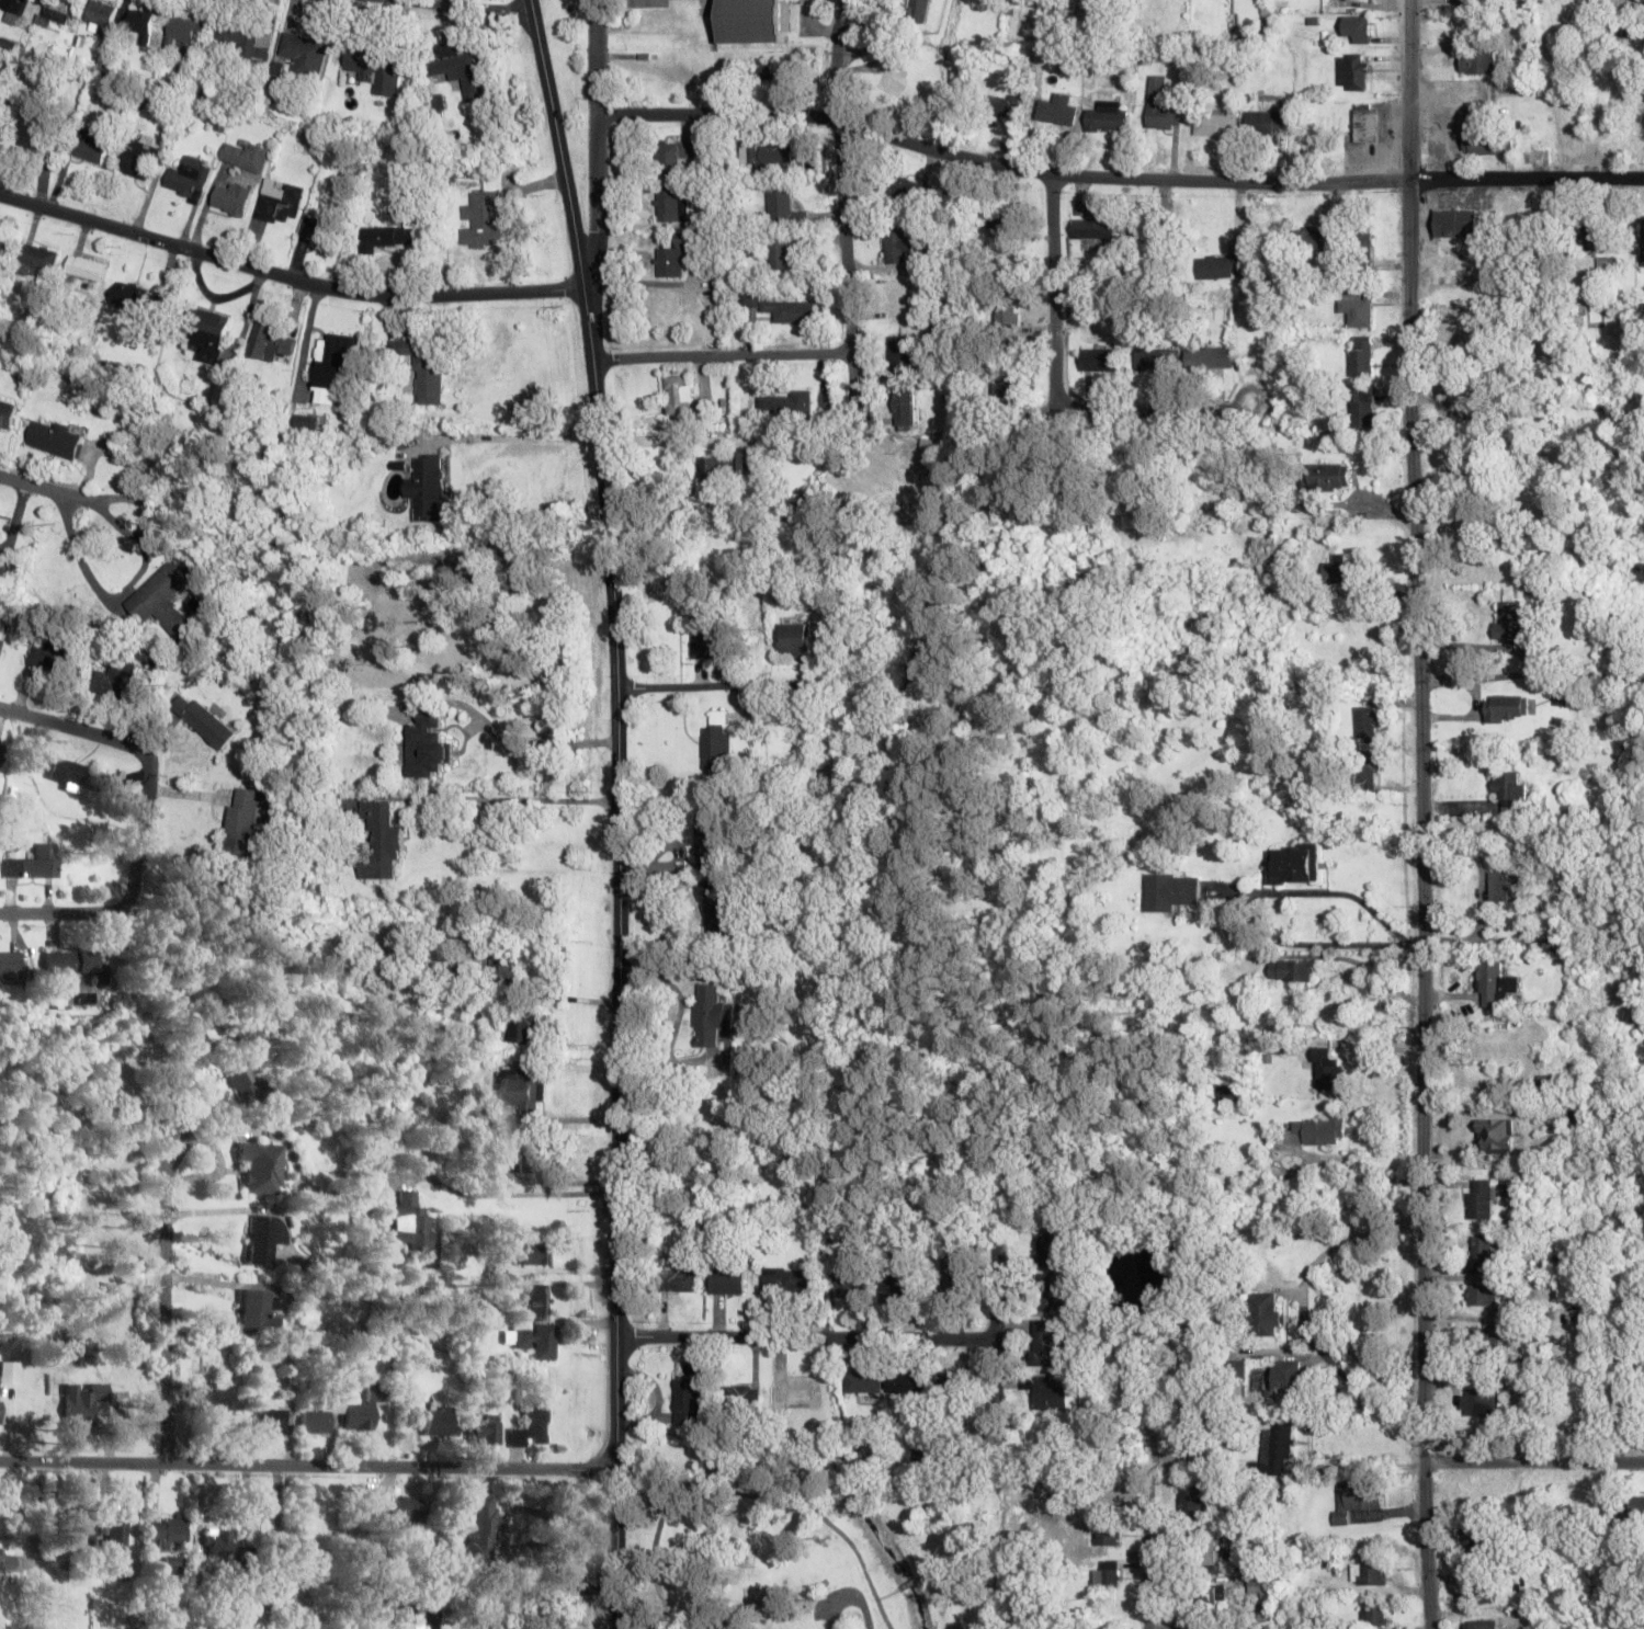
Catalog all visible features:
building: (1470, 4)
fountain: (568, 7)
building: (917, 8)
building: (13, 10)
road: (455, 10)
building: (56, 11)
building: (100, 18)
building: (692, 18)
building: (755, 20)
building: (141, 23)
building: (1356, 29)
building: (184, 30)
building: (246, 39)
building: (305, 55)
building: (1476, 62)
building: (458, 68)
building: (375, 69)
building: (764, 70)
building: (1351, 70)
road: (1409, 90)
building: (1159, 104)
building: (1006, 105)
park: (574, 109)
building: (1056, 110)
building: (1107, 116)
building: (1261, 121)
building: (1214, 122)
building: (1367, 122)
building: (34, 129)
road: (558, 144)
road: (598, 145)
building: (1487, 145)
building: (91, 146)
building: (672, 153)
building: (243, 155)
building: (140, 157)
building: (775, 157)
road: (999, 168)
building: (189, 178)
road: (1526, 179)
building: (904, 189)
building: (231, 197)
building: (279, 201)
building: (669, 202)
building: (784, 206)
building: (481, 219)
building: (1453, 221)
building: (1528, 224)
building: (997, 227)
building: (1093, 228)
building: (319, 229)
building: (1598, 231)
road: (844, 233)
building: (386, 237)
building: (1316, 239)
building: (1362, 240)
building: (1642, 240)
building: (4, 244)
building: (897, 247)
building: (1145, 248)
building: (783, 254)
building: (37, 258)
building: (670, 261)
building: (1606, 264)
building: (1221, 266)
building: (87, 267)
road: (286, 278)
building: (1140, 280)
road: (1052, 291)
building: (137, 297)
building: (898, 300)
building: (783, 308)
building: (1578, 308)
building: (1356, 310)
building: (1005, 315)
building: (211, 333)
building: (273, 341)
building: (1471, 344)
building: (1552, 348)
building: (900, 351)
road: (723, 355)
building: (1208, 357)
building: (1098, 358)
building: (1154, 358)
building: (1361, 362)
building: (335, 365)
building: (423, 366)
building: (1474, 384)
building: (1002, 388)
building: (680, 396)
building: (787, 403)
building: (1362, 407)
building: (903, 408)
building: (8, 414)
road: (1140, 414)
building: (1473, 419)
building: (308, 421)
building: (56, 437)
building: (930, 440)
building: (724, 466)
building: (1478, 468)
building: (1326, 477)
building: (426, 487)
building: (929, 487)
road: (44, 491)
road: (151, 529)
building: (1263, 546)
building: (1342, 571)
building: (165, 599)
building: (1508, 622)
building: (705, 638)
building: (795, 638)
building: (1, 645)
building: (50, 657)
road: (1532, 677)
building: (115, 679)
building: (1507, 707)
building: (203, 719)
building: (1367, 721)
building: (717, 740)
building: (429, 745)
building: (1, 749)
building: (1367, 771)
building: (76, 774)
building: (1508, 790)
building: (243, 818)
road: (145, 820)
building: (707, 839)
building: (379, 841)
building: (34, 864)
building: (1293, 864)
building: (1509, 886)
building: (1171, 891)
road: (1424, 904)
building: (718, 905)
road: (617, 957)
building: (504, 960)
building: (68, 967)
building: (11, 968)
building: (1291, 970)
building: (1495, 983)
building: (711, 1014)
building: (196, 1025)
building: (524, 1026)
building: (1503, 1045)
building: (1275, 1050)
building: (1329, 1075)
building: (245, 1078)
building: (523, 1087)
building: (1226, 1093)
building: (1577, 1114)
road: (174, 1116)
building: (1316, 1131)
building: (1497, 1134)
building: (529, 1155)
building: (262, 1166)
building: (1479, 1198)
building: (412, 1222)
building: (267, 1238)
building: (1055, 1246)
building: (1484, 1251)
building: (530, 1253)
building: (953, 1268)
building: (678, 1280)
building: (786, 1280)
building: (726, 1281)
building: (850, 1286)
building: (902, 1286)
building: (1053, 1289)
building: (1481, 1294)
building: (540, 1298)
building: (1263, 1310)
building: (258, 1312)
road: (168, 1324)
building: (536, 1338)
road: (806, 1338)
road: (997, 1338)
building: (1489, 1340)
building: (1046, 1344)
building: (8, 1372)
building: (1289, 1375)
building: (951, 1380)
building: (863, 1381)
building: (903, 1381)
building: (1048, 1392)
building: (796, 1393)
building: (742, 1397)
building: (217, 1398)
building: (688, 1400)
building: (1481, 1403)
building: (80, 1405)
building: (362, 1411)
building: (319, 1416)
building: (271, 1421)
building: (442, 1422)
building: (535, 1427)
building: (488, 1431)
building: (1194, 1444)
building: (1275, 1451)
road: (1534, 1463)
road: (307, 1466)
building: (1281, 1490)
building: (1190, 1499)
building: (1356, 1499)
road: (250, 1505)
road: (806, 1506)
building: (1636, 1506)
building: (407, 1512)
building: (481, 1527)
building: (77, 1533)
building: (166, 1533)
road: (1148, 1533)
building: (1107, 1534)
building: (1477, 1540)
building: (216, 1542)
park: (748, 1542)
building: (116, 1547)
building: (682, 1549)
building: (1205, 1557)
building: (5, 1561)
building: (173, 1563)
road: (650, 1571)
building: (1368, 1573)
building: (1107, 1575)
building: (1482, 1592)
road: (848, 1595)
building: (1203, 1598)
building: (1373, 1614)
building: (253, 1620)
building: (1481, 1624)

